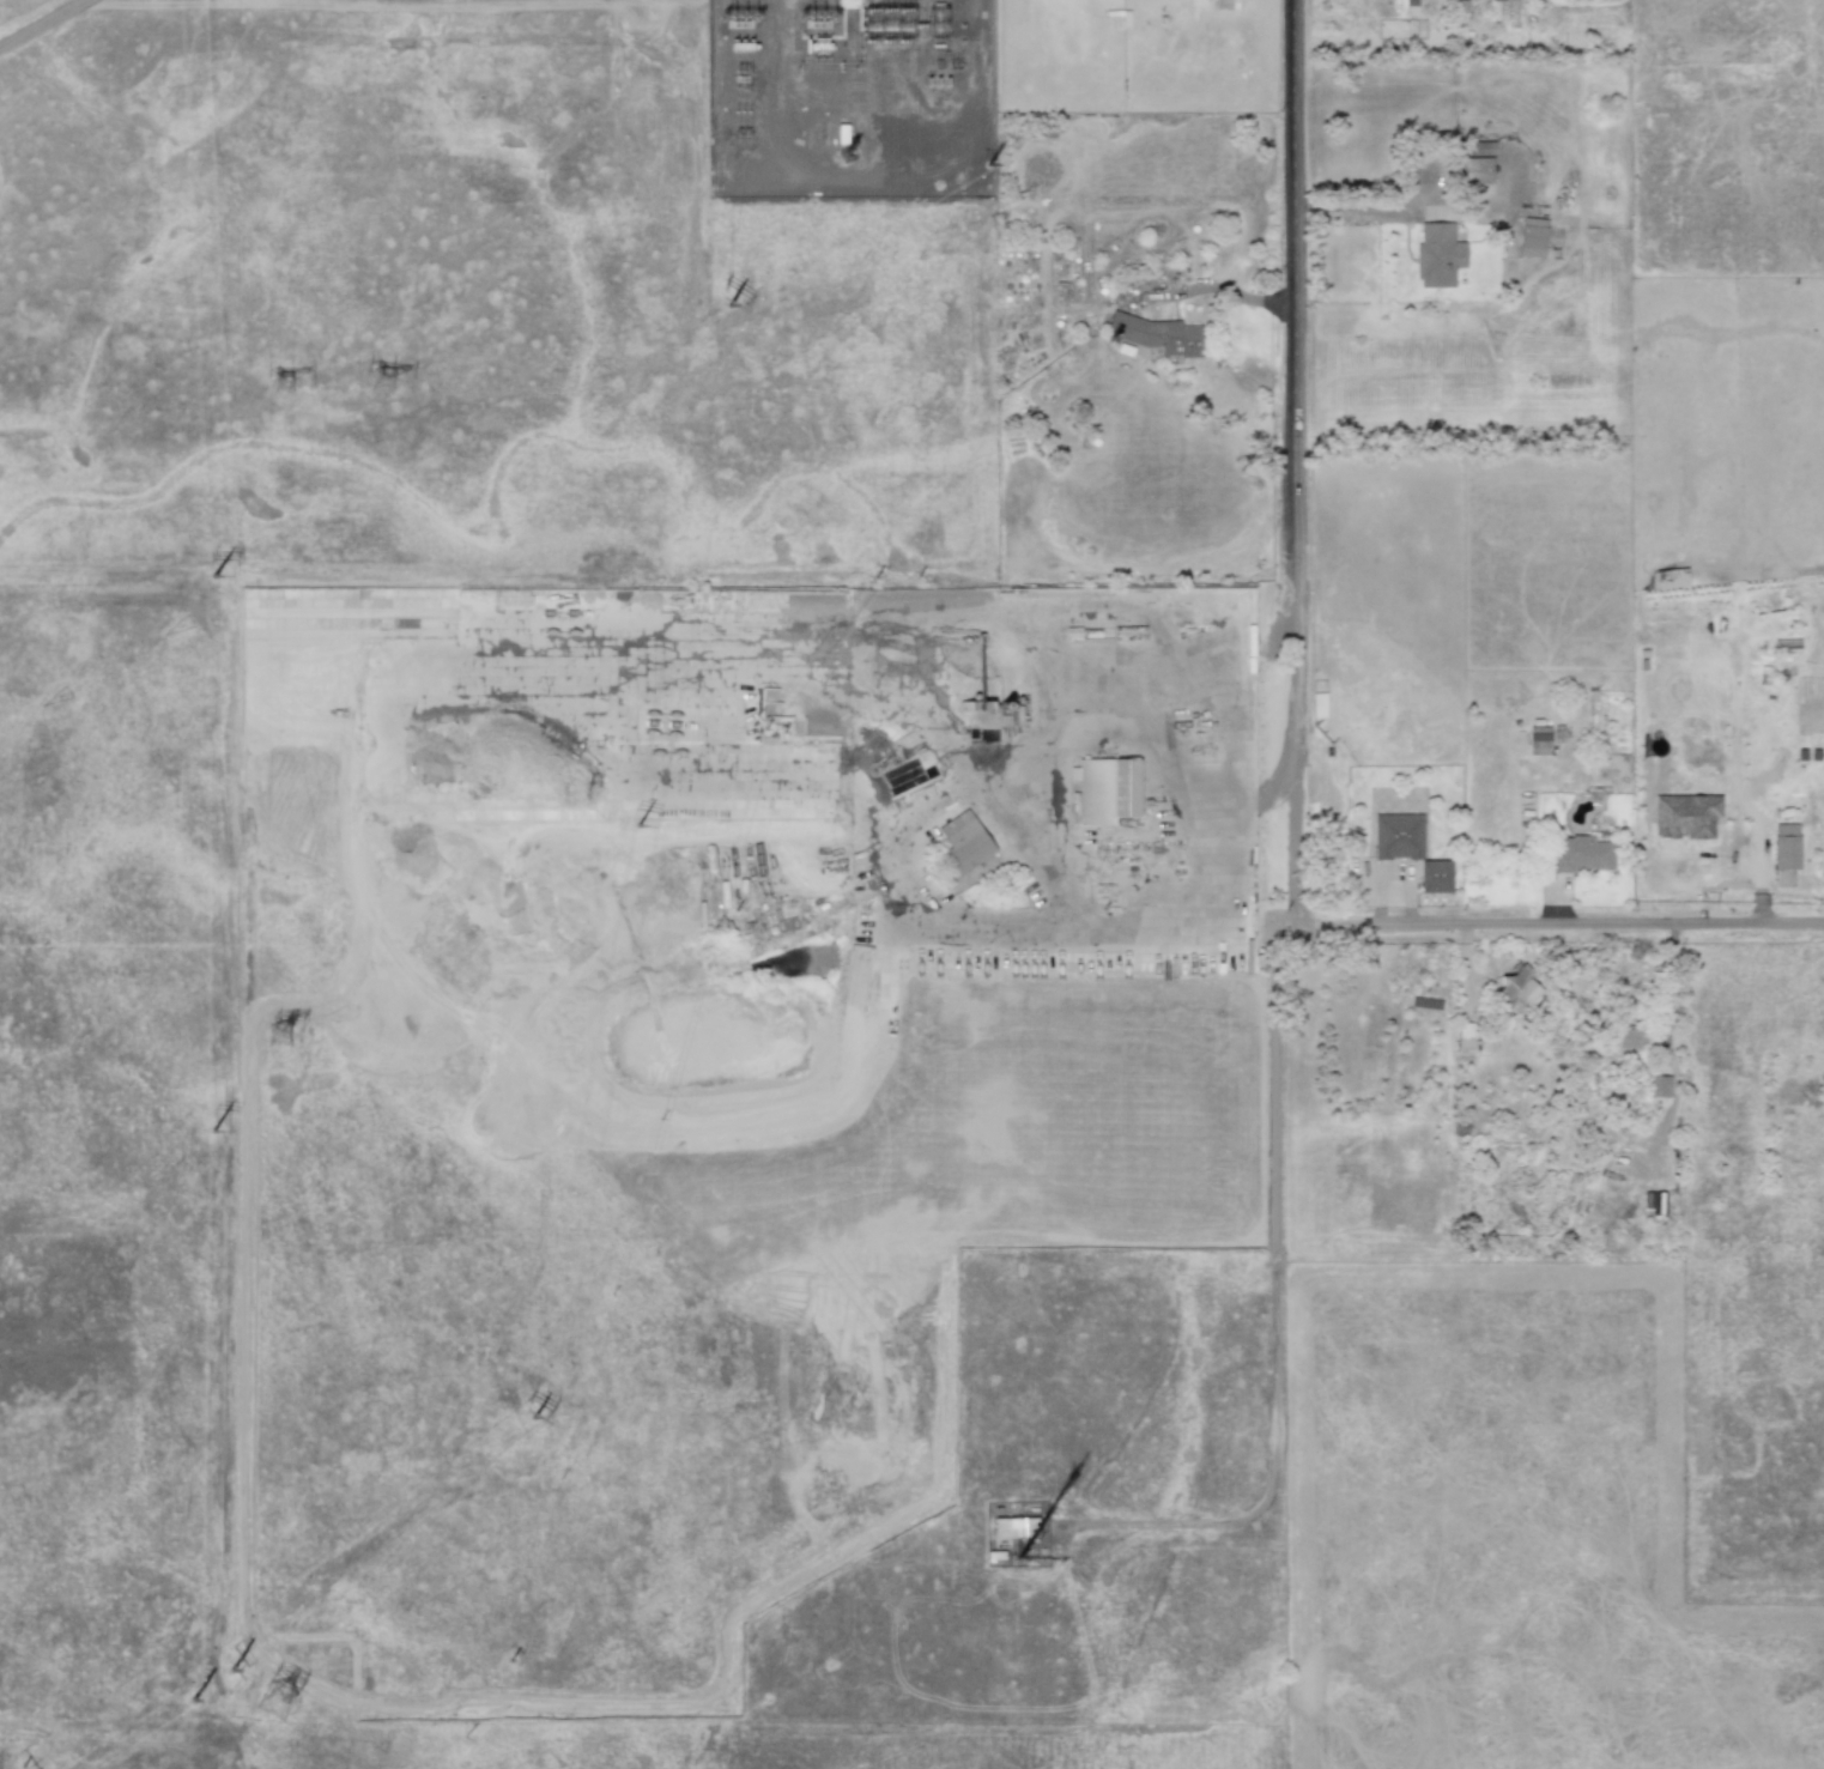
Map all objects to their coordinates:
building: (847, 4)
building: (1496, 11)
power tower: (738, 18)
road: (42, 24)
power substation: (855, 98)
building: (1478, 147)
building: (1475, 170)
building: (1532, 237)
building: (1437, 254)
road: (1231, 291)
building: (1157, 335)
power tower: (383, 383)
power tower: (284, 384)
road: (1295, 462)
building: (1671, 578)
road: (1089, 723)
building: (1538, 740)
road: (1164, 774)
road: (1244, 782)
building: (1103, 790)
road: (1327, 807)
road: (908, 813)
building: (1684, 816)
building: (1398, 836)
building: (963, 843)
building: (1786, 846)
building: (1580, 853)
building: (1435, 876)
road: (1392, 878)
road: (1357, 926)
building: (1516, 990)
building: (1465, 1035)
power tower: (280, 1037)
building: (1629, 1041)
building: (1660, 1085)
road: (1273, 1316)
power tower: (277, 1703)

